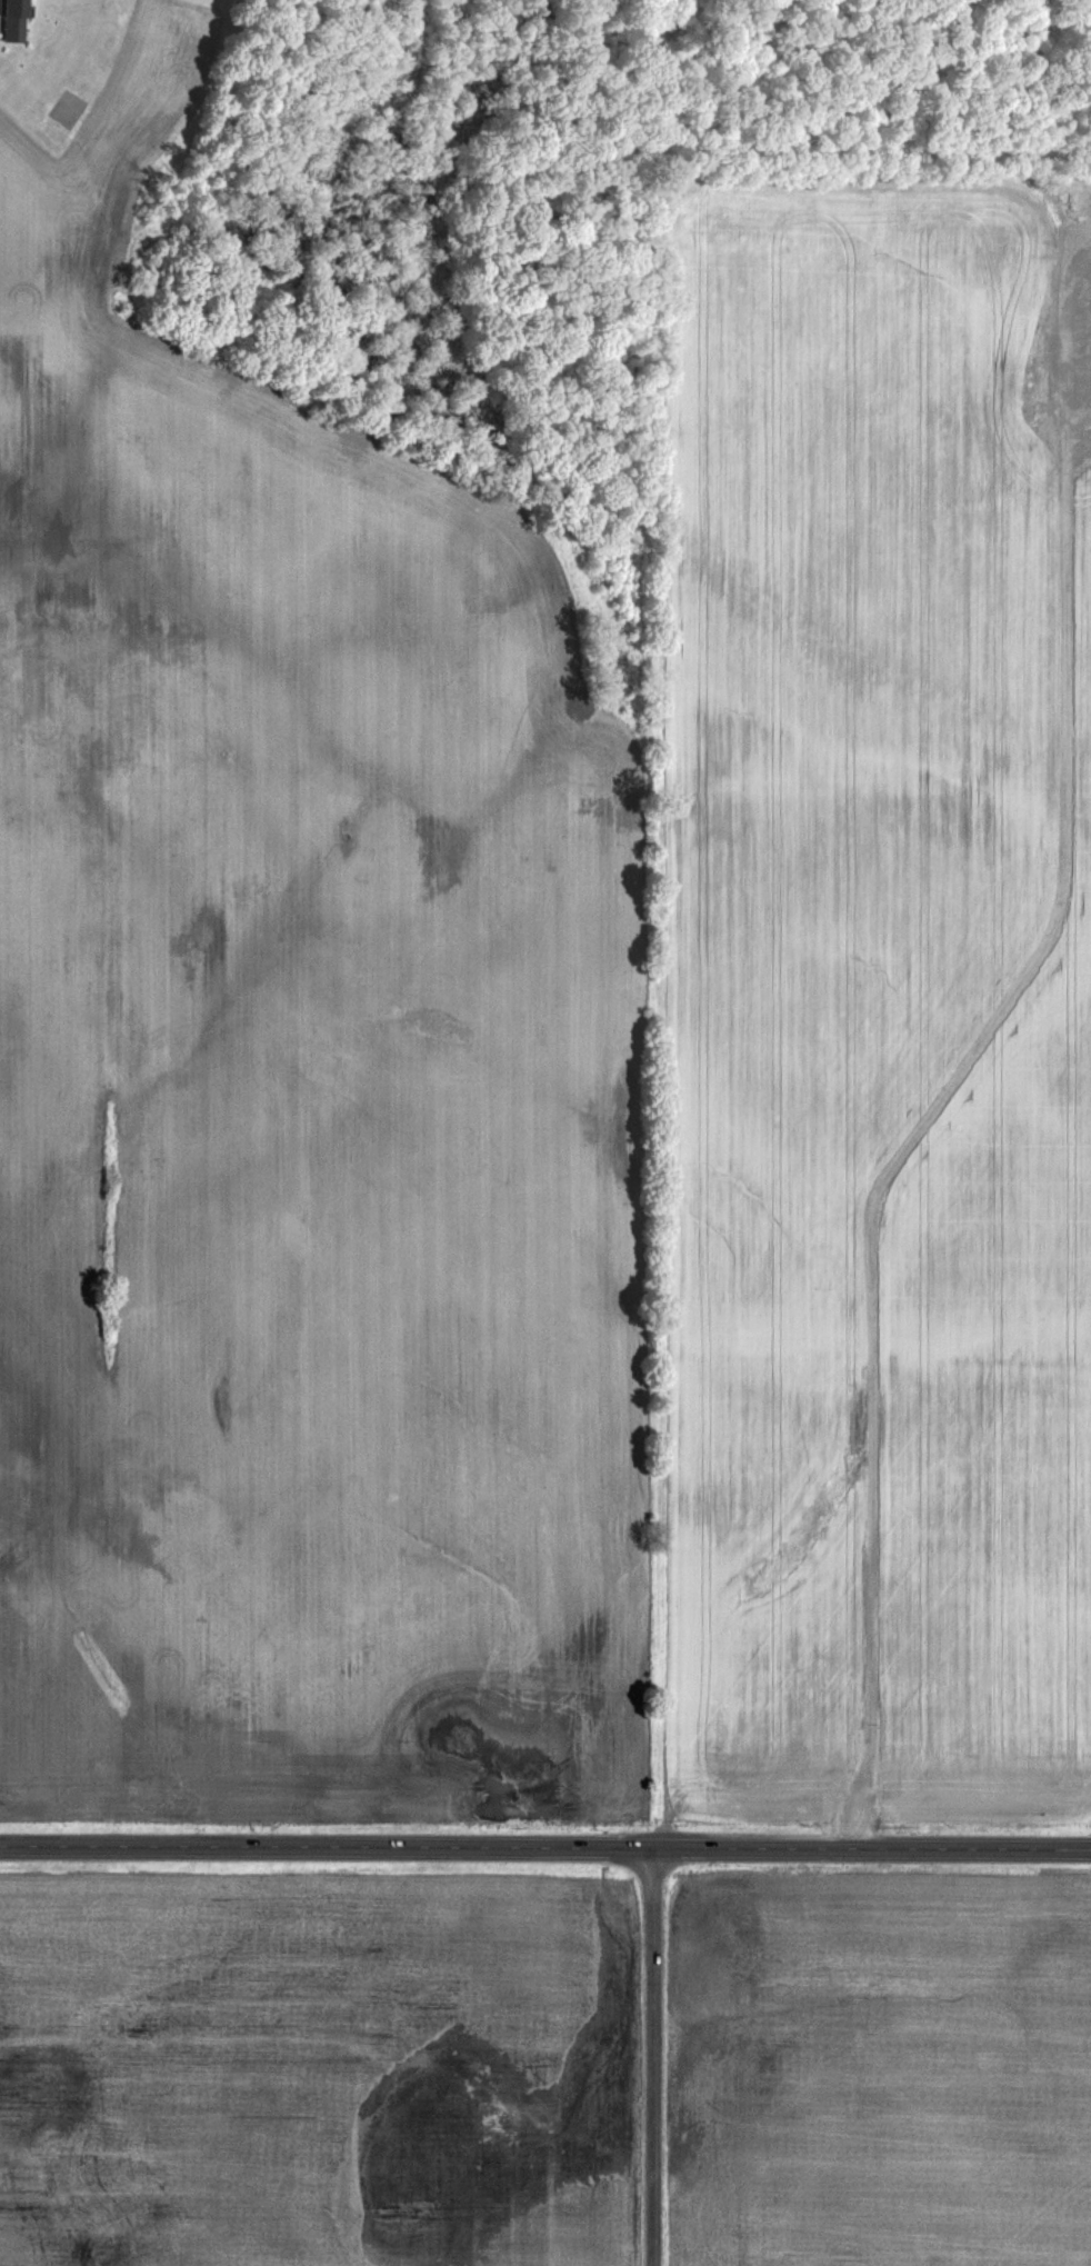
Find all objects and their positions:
building: (9, 20)
road: (545, 1844)
road: (645, 2054)

